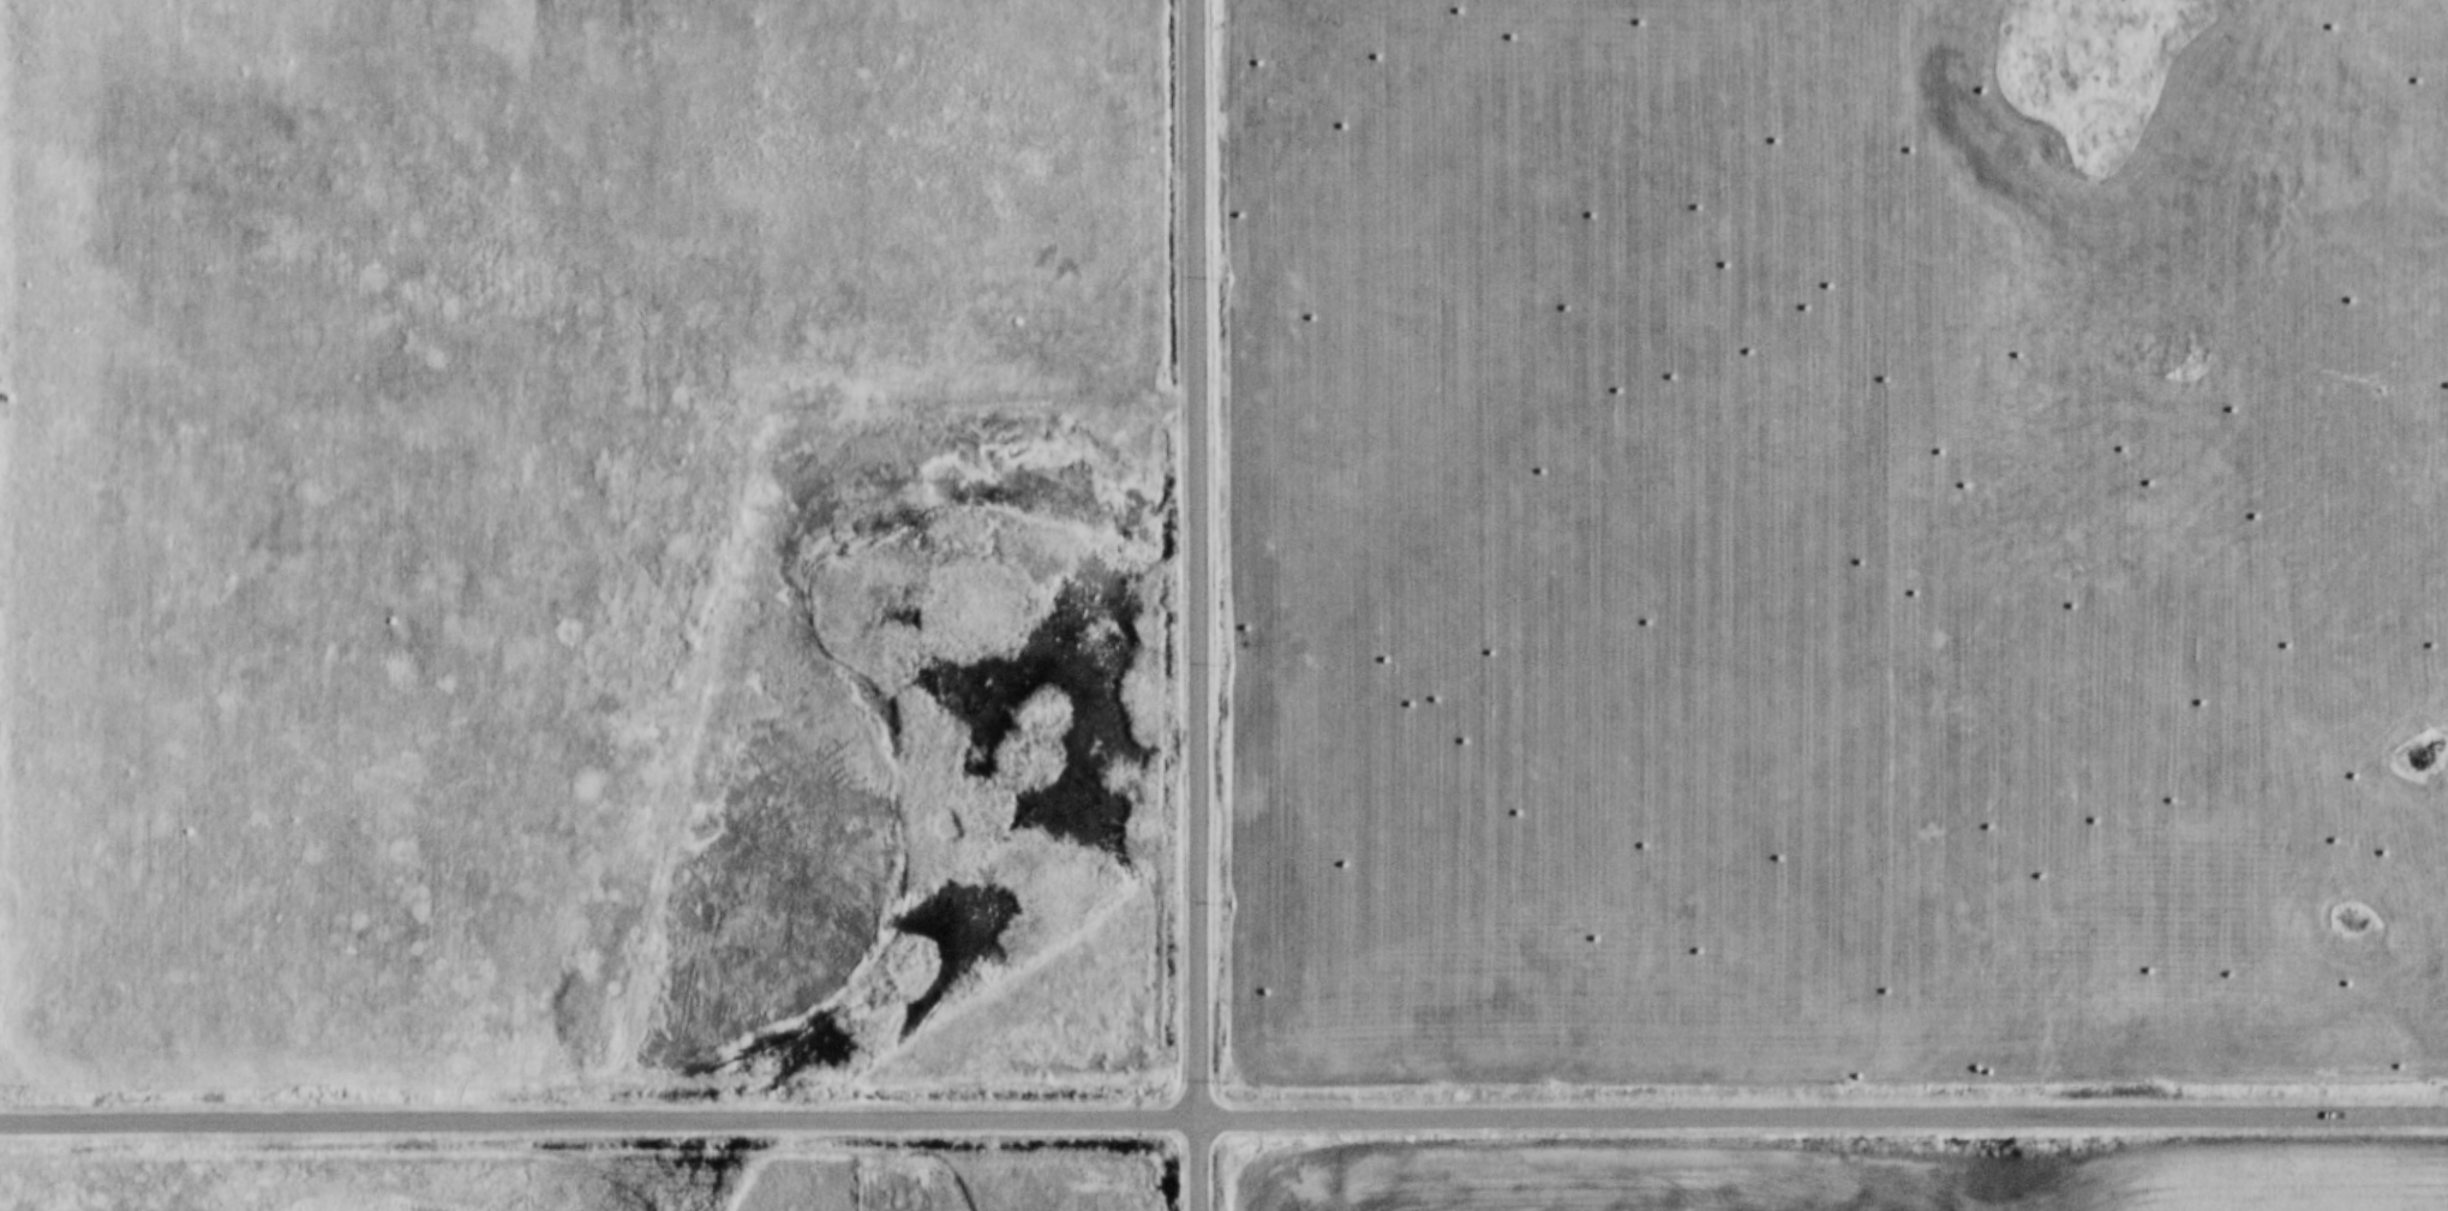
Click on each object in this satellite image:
road: (1195, 605)
road: (1223, 1116)

